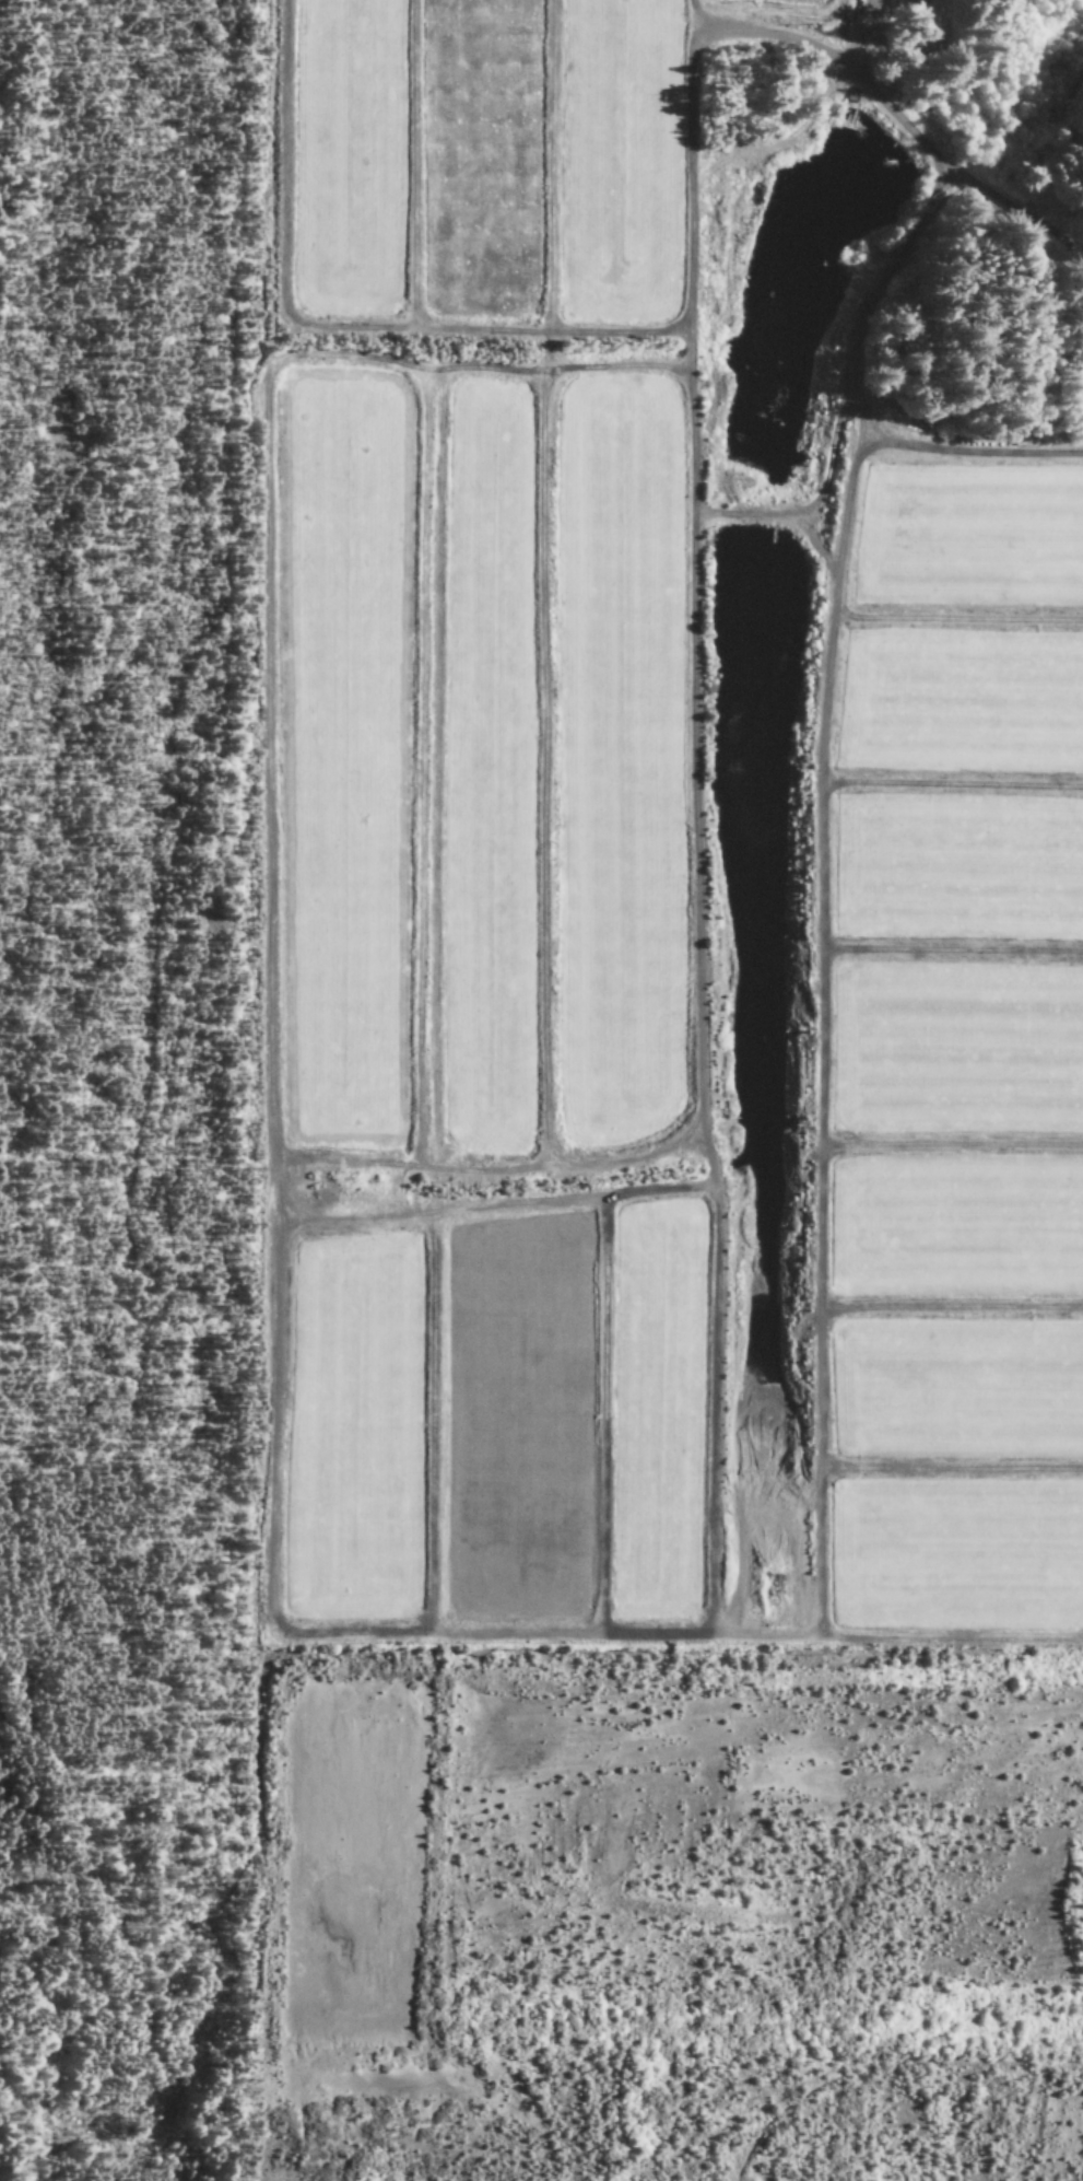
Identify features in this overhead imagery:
crop: (775, 4)
crop: (346, 160)
crop: (481, 163)
crop: (620, 164)
crop: (970, 540)
crop: (962, 703)
crop: (343, 757)
crop: (620, 760)
crop: (488, 771)
crop: (957, 873)
crop: (958, 1049)
airport: (55, 2042)

